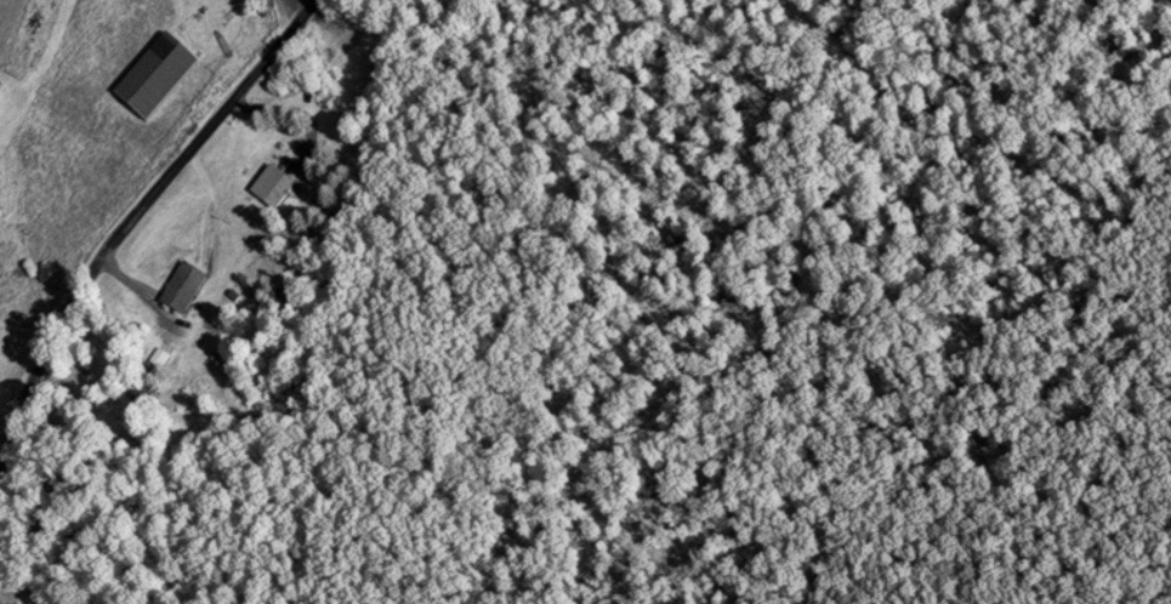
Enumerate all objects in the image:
road: (305, 5)
building: (155, 75)
building: (273, 189)
road: (133, 217)
building: (184, 289)
building: (142, 394)

